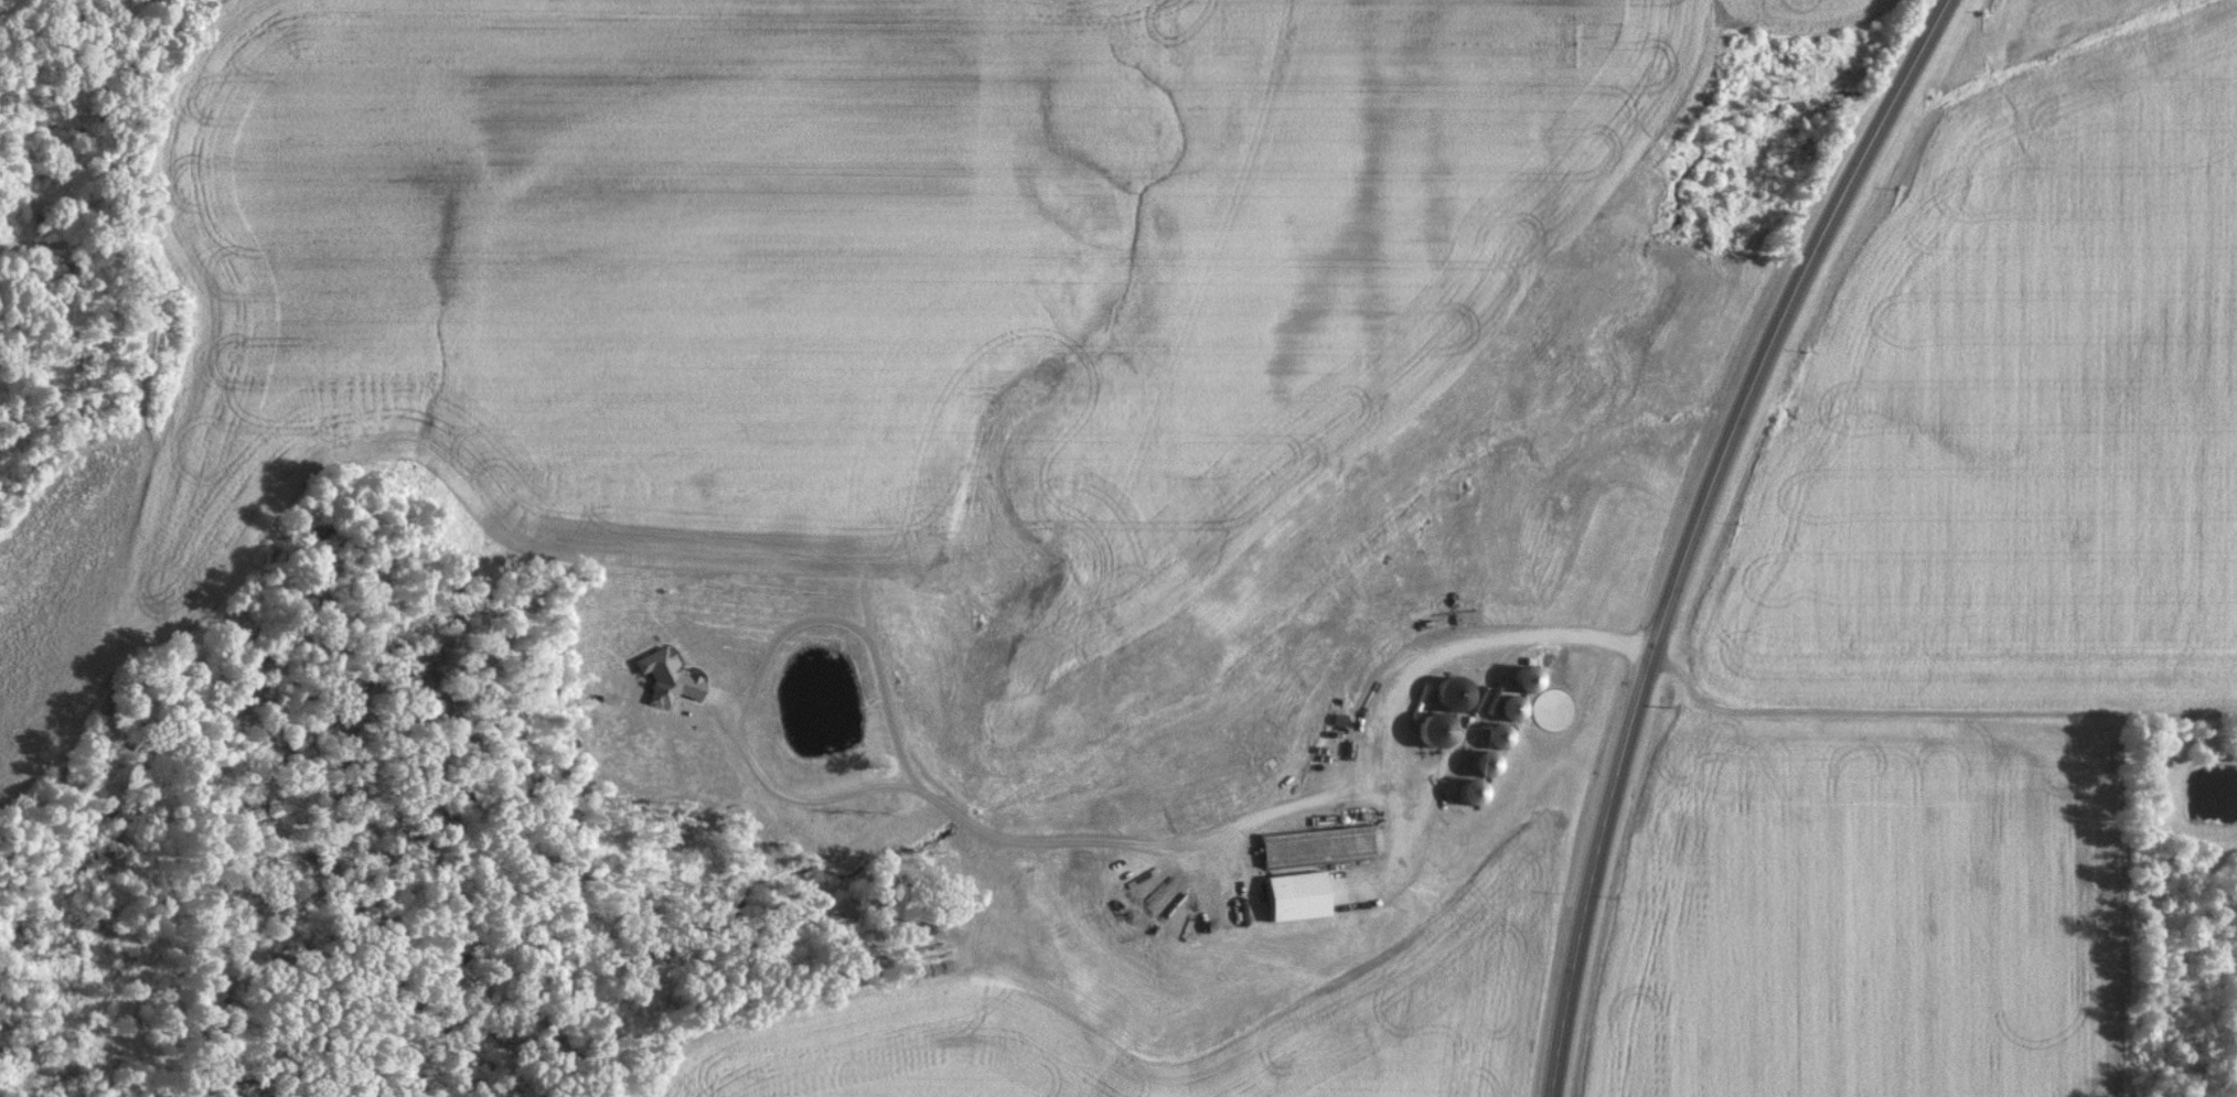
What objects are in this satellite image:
road: (1694, 528)
building: (1528, 685)
building: (1452, 692)
road: (1933, 713)
building: (1435, 729)
building: (1500, 735)
building: (1485, 763)
building: (1474, 792)
road: (1045, 841)
building: (1317, 846)
building: (1298, 895)

